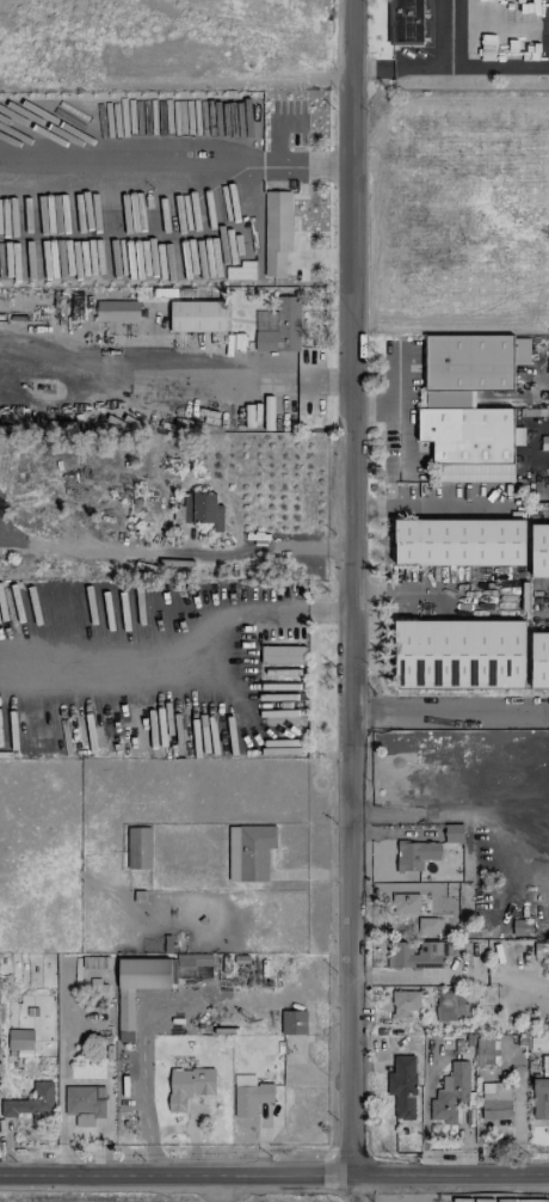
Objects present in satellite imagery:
road: (428, 68)
road: (493, 69)
road: (300, 167)
road: (240, 173)
building: (276, 232)
building: (117, 311)
building: (197, 315)
building: (282, 327)
road: (173, 378)
road: (396, 397)
building: (469, 405)
road: (396, 437)
road: (461, 505)
road: (378, 507)
building: (203, 510)
building: (459, 542)
building: (539, 551)
road: (174, 552)
road: (353, 588)
road: (544, 600)
building: (459, 654)
building: (283, 655)
building: (539, 660)
road: (201, 662)
road: (451, 713)
building: (454, 833)
building: (144, 847)
building: (248, 852)
building: (414, 854)
building: (406, 903)
building: (522, 927)
building: (420, 948)
building: (193, 959)
building: (519, 962)
road: (451, 977)
building: (137, 988)
building: (403, 1002)
building: (451, 1006)
building: (292, 1022)
building: (20, 1042)
building: (488, 1050)
building: (187, 1086)
building: (402, 1086)
building: (451, 1092)
building: (249, 1094)
building: (539, 1098)
building: (495, 1100)
building: (30, 1102)
building: (84, 1102)
road: (177, 1173)
road: (451, 1175)
road: (353, 1189)

